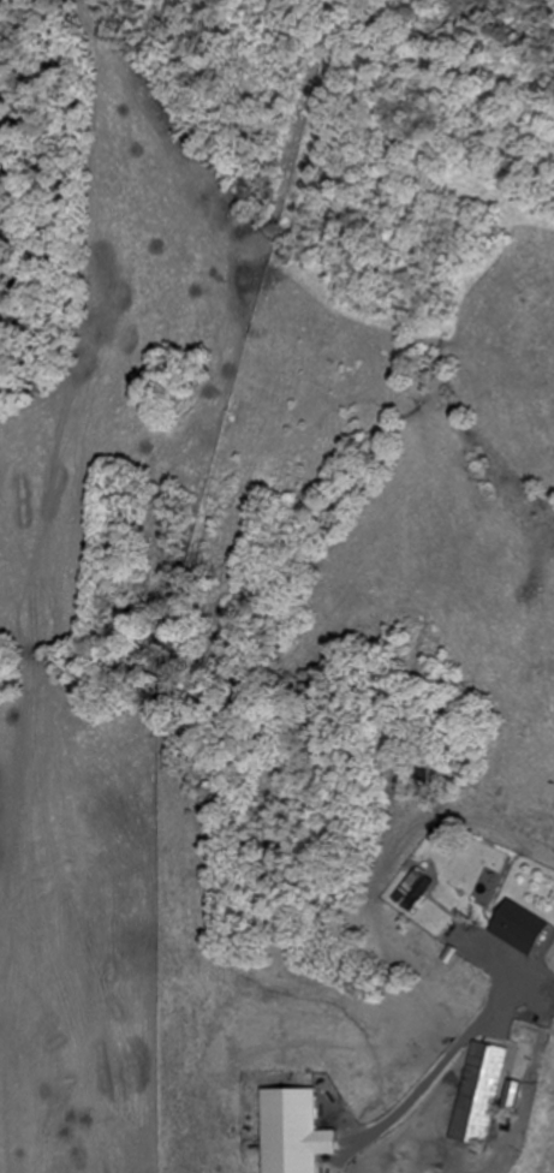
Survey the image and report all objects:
building: (415, 891)
road: (537, 1077)
building: (479, 1092)
building: (513, 1096)

